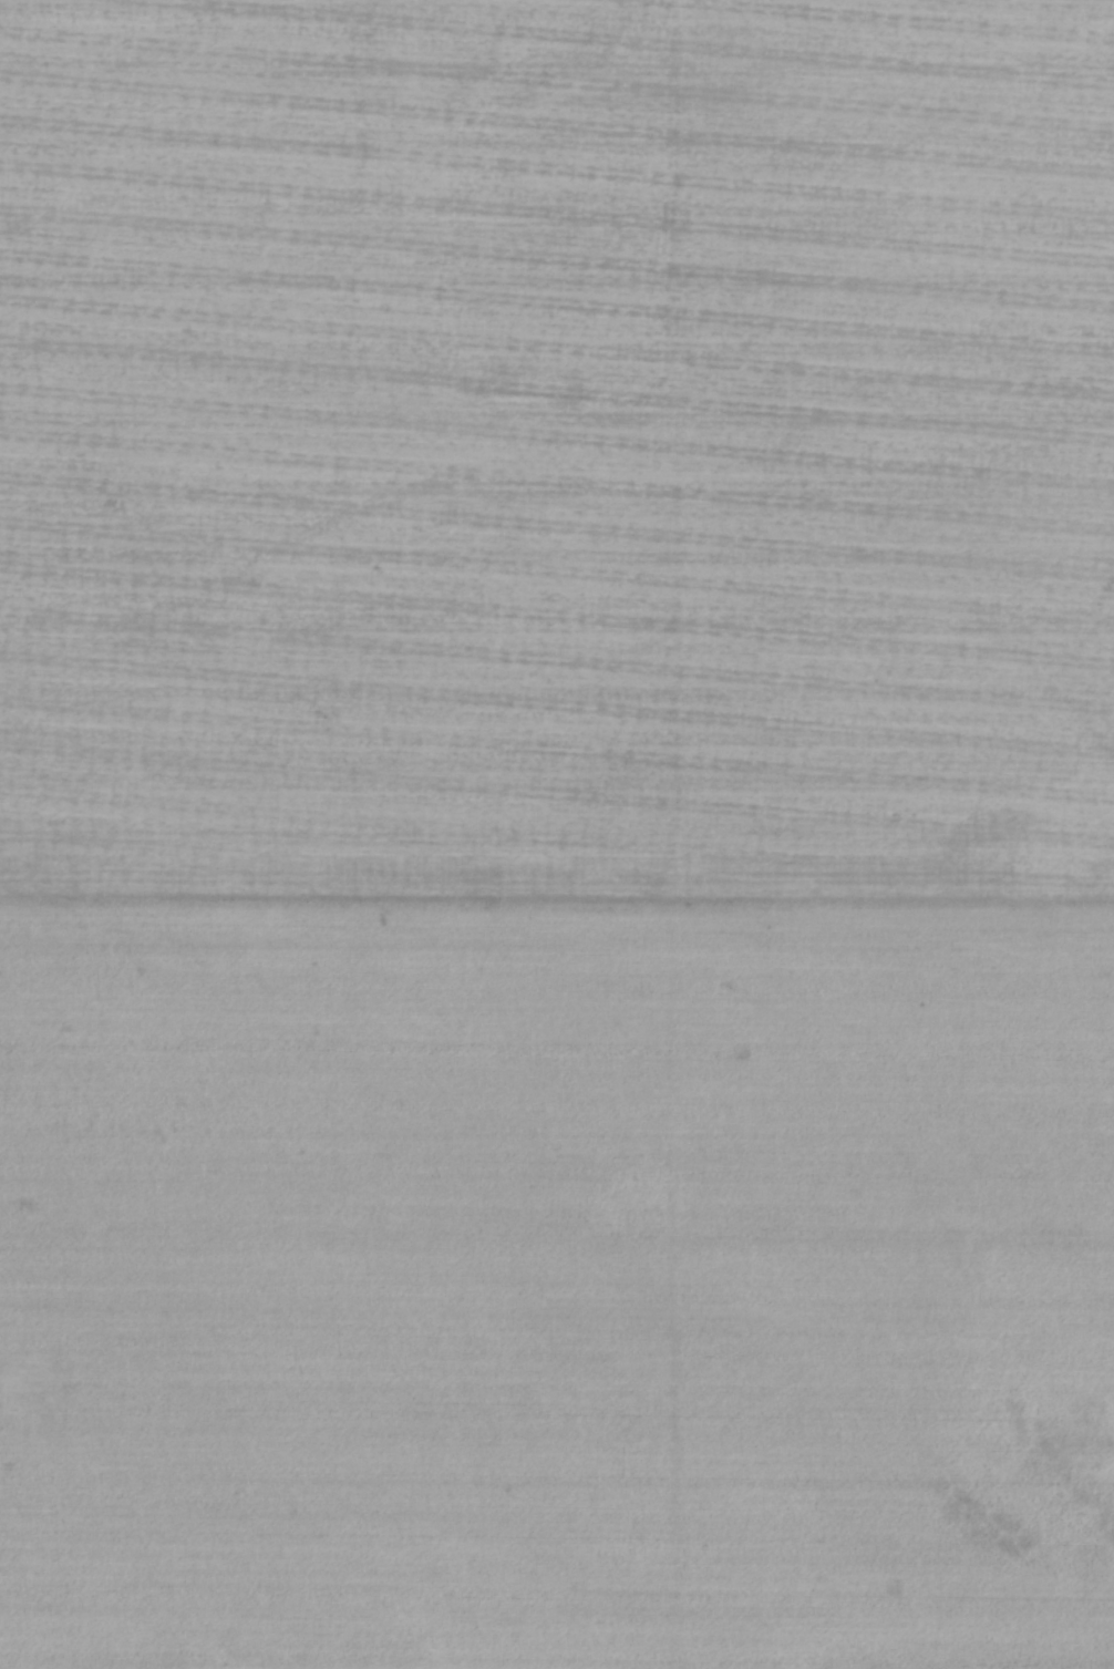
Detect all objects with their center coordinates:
crop: (557, 834)

